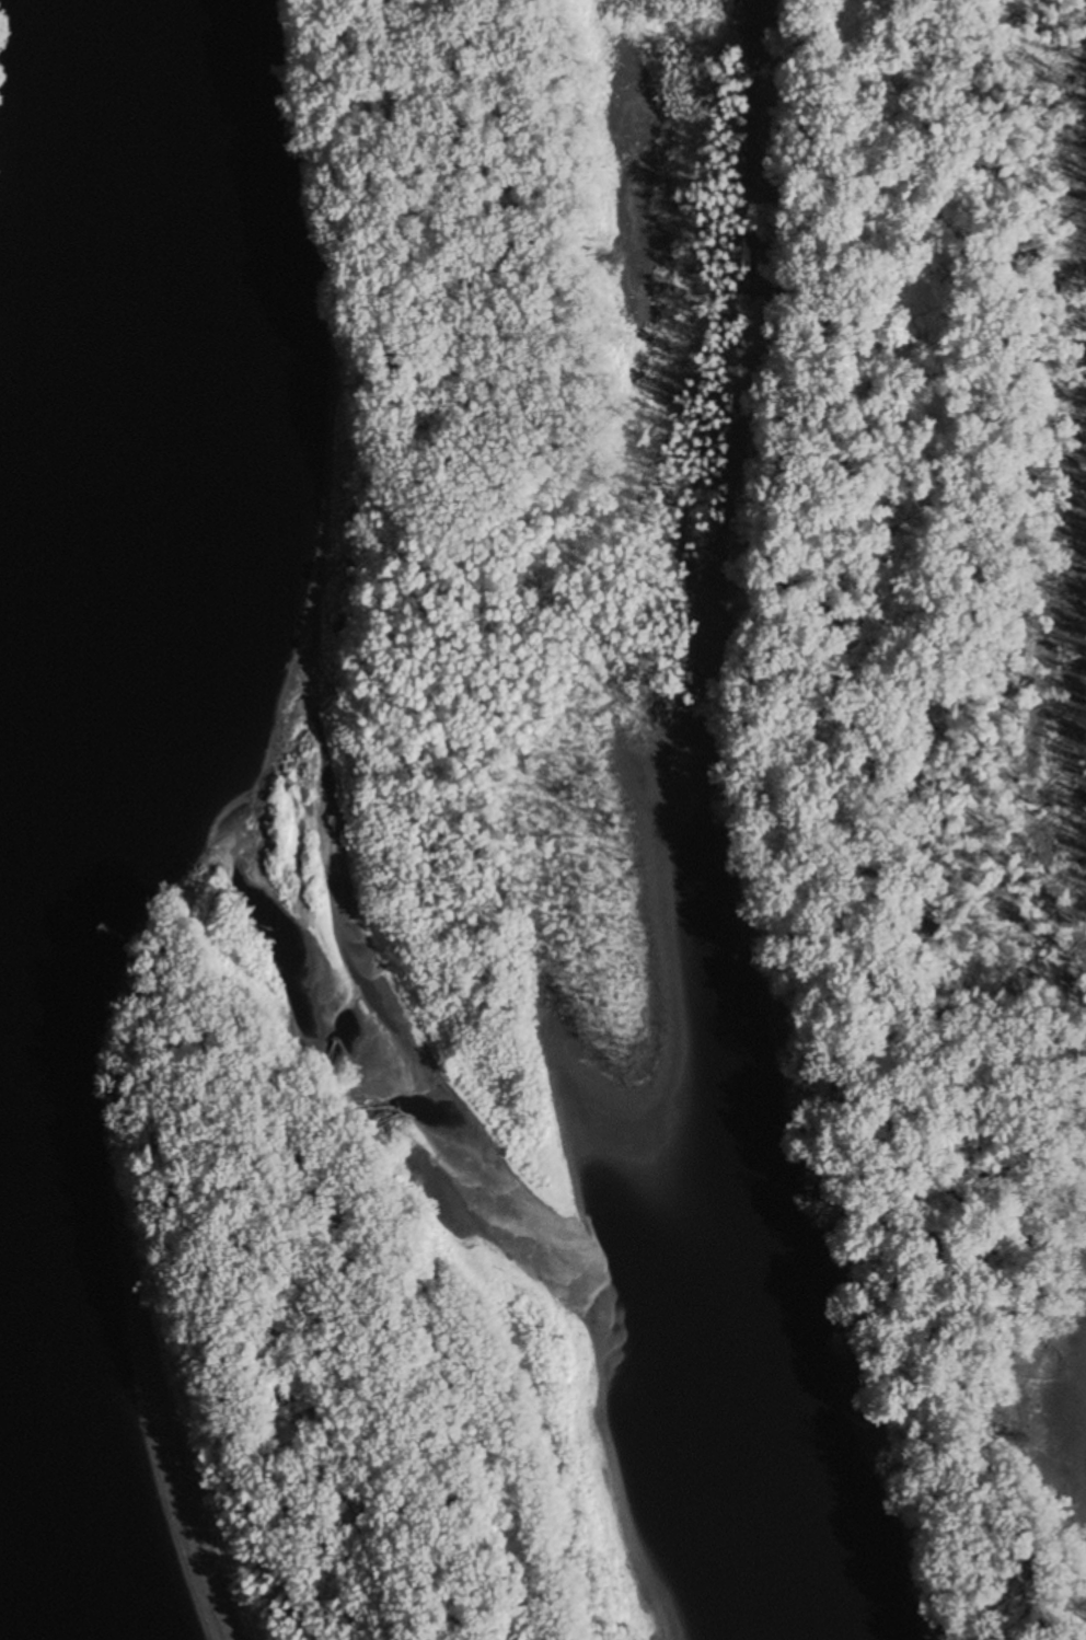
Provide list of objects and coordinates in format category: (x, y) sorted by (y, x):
road: (856, 189)

